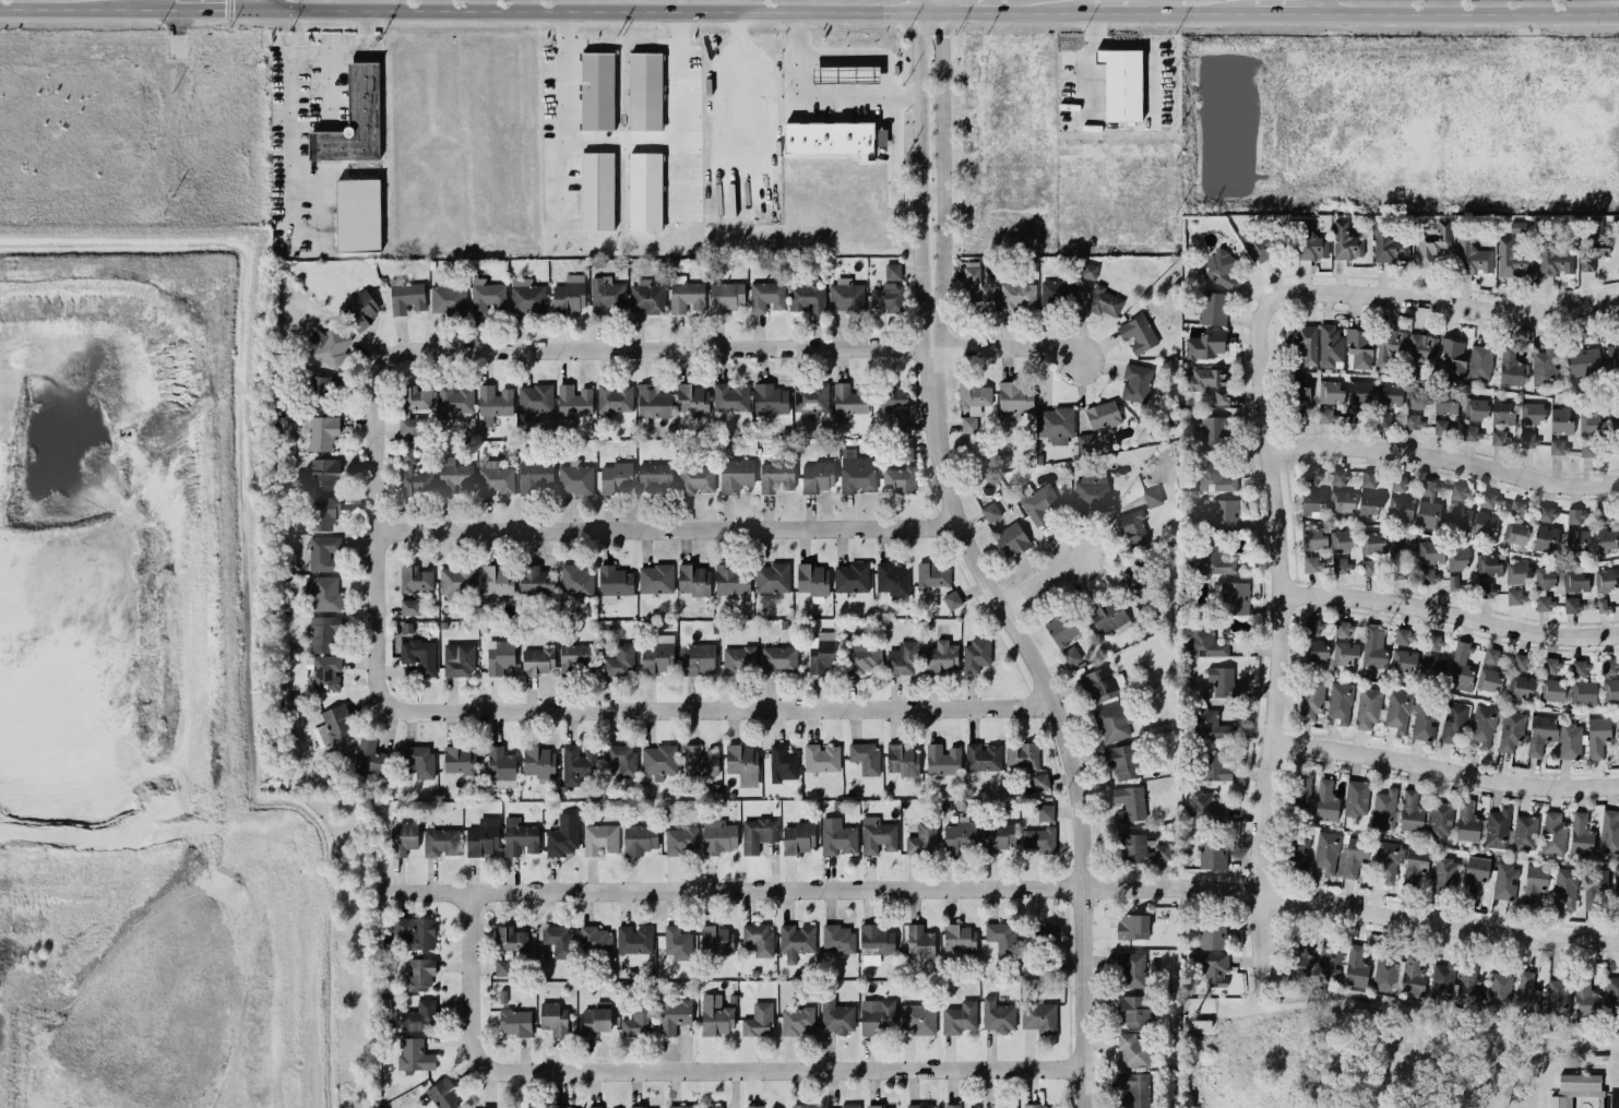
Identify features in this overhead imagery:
road: (246, 4)
road: (275, 4)
road: (1164, 7)
road: (1324, 7)
road: (78, 8)
road: (193, 9)
traffic signals: (231, 9)
road: (239, 9)
road: (261, 9)
road: (675, 11)
road: (1119, 12)
road: (1472, 12)
road: (1201, 13)
road: (1282, 13)
road: (1152, 52)
road: (1086, 64)
building: (845, 75)
building: (1121, 85)
road: (329, 87)
building: (597, 91)
building: (644, 91)
road: (287, 93)
road: (814, 99)
road: (557, 112)
building: (354, 121)
road: (675, 136)
building: (828, 136)
building: (881, 139)
road: (894, 162)
road: (920, 172)
road: (943, 172)
building: (597, 191)
building: (644, 192)
road: (323, 206)
building: (357, 216)
building: (1517, 227)
building: (1344, 241)
building: (1310, 245)
building: (1267, 246)
building: (1389, 249)
building: (1473, 258)
building: (1555, 259)
building: (1512, 260)
building: (1223, 270)
building: (893, 272)
building: (1093, 272)
building: (977, 291)
building: (1057, 291)
building: (607, 294)
building: (570, 295)
building: (527, 296)
building: (686, 296)
building: (846, 296)
building: (487, 297)
building: (647, 297)
building: (726, 297)
building: (766, 297)
building: (1017, 297)
building: (407, 298)
building: (449, 298)
building: (888, 298)
building: (806, 299)
road: (1450, 300)
building: (1106, 303)
building: (1213, 309)
building: (360, 311)
building: (1138, 333)
building: (1302, 344)
building: (330, 345)
building: (1205, 345)
road: (742, 346)
building: (1388, 346)
building: (1331, 347)
building: (1359, 348)
building: (1420, 352)
building: (1612, 354)
building: (1452, 359)
building: (1583, 361)
building: (1480, 362)
building: (1512, 367)
building: (1545, 369)
building: (1205, 379)
building: (1136, 383)
building: (1331, 392)
building: (322, 393)
building: (1389, 395)
building: (1222, 396)
building: (1418, 396)
building: (417, 397)
building: (615, 397)
building: (730, 397)
building: (974, 397)
building: (1014, 397)
building: (1358, 398)
building: (693, 400)
building: (770, 400)
building: (810, 400)
building: (454, 401)
building: (574, 401)
building: (895, 401)
building: (535, 402)
building: (848, 402)
building: (1444, 402)
building: (495, 403)
building: (654, 403)
building: (1476, 408)
building: (1502, 413)
building: (1325, 415)
building: (1413, 421)
building: (1561, 421)
building: (1616, 421)
building: (968, 425)
building: (1058, 425)
building: (1592, 425)
building: (1441, 427)
building: (1213, 431)
building: (323, 432)
building: (1472, 432)
building: (1499, 438)
building: (1528, 440)
building: (1558, 446)
building: (1592, 449)
building: (904, 450)
road: (1447, 456)
building: (412, 460)
building: (857, 473)
building: (320, 475)
building: (536, 475)
building: (655, 475)
building: (736, 475)
building: (454, 477)
building: (776, 477)
building: (818, 477)
building: (1214, 477)
building: (1310, 477)
building: (1340, 477)
building: (616, 478)
building: (575, 479)
building: (697, 479)
building: (900, 479)
building: (496, 480)
building: (1092, 493)
building: (1370, 496)
building: (1153, 498)
building: (1400, 500)
building: (1490, 501)
building: (1312, 502)
building: (1343, 502)
building: (1039, 503)
building: (1429, 508)
building: (1517, 509)
building: (991, 512)
building: (324, 513)
building: (1468, 514)
building: (1548, 514)
building: (1225, 515)
road: (381, 516)
building: (1575, 516)
road: (672, 526)
building: (1132, 527)
building: (1516, 534)
building: (1545, 538)
building: (1012, 539)
building: (1608, 539)
building: (1342, 541)
building: (1371, 543)
building: (1576, 543)
building: (1312, 547)
building: (1433, 552)
building: (323, 553)
building: (1401, 556)
building: (1459, 558)
building: (1341, 564)
building: (1369, 568)
building: (1489, 571)
building: (1517, 572)
building: (932, 575)
building: (1136, 576)
building: (1429, 576)
building: (852, 577)
building: (656, 579)
building: (893, 579)
building: (1545, 579)
building: (415, 580)
building: (456, 580)
building: (694, 580)
building: (772, 580)
building: (812, 580)
road: (1043, 580)
building: (1575, 580)
building: (1607, 580)
building: (498, 581)
building: (536, 581)
building: (576, 581)
building: (733, 581)
building: (615, 583)
building: (1454, 583)
building: (325, 594)
building: (1515, 596)
building: (1236, 598)
building: (1544, 604)
building: (1572, 605)
building: (1603, 605)
building: (409, 607)
road: (1453, 610)
building: (1109, 616)
building: (1314, 628)
building: (1061, 629)
building: (1344, 630)
building: (323, 632)
road: (1285, 636)
building: (1403, 636)
building: (1436, 643)
building: (1206, 644)
building: (1373, 647)
building: (1318, 652)
building: (823, 653)
building: (1345, 653)
building: (658, 655)
building: (976, 655)
building: (419, 656)
building: (1071, 656)
building: (1493, 656)
building: (500, 657)
building: (576, 657)
building: (862, 657)
building: (942, 657)
building: (620, 659)
building: (699, 659)
building: (737, 659)
building: (778, 659)
building: (903, 659)
building: (459, 660)
building: (1403, 660)
building: (538, 662)
building: (1521, 663)
building: (1432, 666)
building: (1551, 666)
building: (1610, 666)
building: (1461, 668)
building: (1580, 668)
building: (326, 674)
building: (1489, 681)
building: (1224, 682)
building: (1103, 684)
building: (1521, 686)
building: (1552, 690)
building: (1610, 690)
building: (1584, 692)
landfill: (157, 698)
building: (1311, 700)
building: (1341, 702)
road: (722, 706)
building: (1368, 707)
road: (1063, 713)
building: (1425, 719)
building: (1454, 722)
building: (1111, 723)
building: (333, 726)
building: (1618, 727)
building: (1213, 728)
building: (1481, 732)
building: (1541, 734)
building: (1598, 736)
building: (1570, 741)
building: (983, 756)
building: (371, 758)
building: (822, 758)
building: (865, 758)
building: (903, 760)
building: (943, 760)
building: (419, 761)
building: (460, 761)
building: (620, 761)
building: (659, 761)
building: (701, 761)
building: (1123, 761)
building: (539, 762)
building: (784, 762)
building: (1028, 763)
building: (501, 764)
building: (578, 764)
building: (742, 764)
building: (1216, 765)
road: (1448, 767)
building: (1357, 798)
building: (1317, 800)
building: (1128, 802)
building: (1205, 808)
building: (1384, 809)
building: (1046, 812)
building: (1410, 812)
building: (1440, 820)
building: (1468, 822)
building: (1499, 829)
building: (1609, 832)
building: (1525, 833)
building: (758, 834)
building: (1553, 834)
building: (1581, 834)
building: (563, 835)
building: (718, 836)
building: (878, 836)
building: (960, 836)
building: (998, 836)
building: (484, 837)
building: (520, 837)
building: (799, 837)
building: (404, 838)
building: (600, 839)
building: (640, 839)
building: (681, 841)
building: (838, 841)
building: (922, 841)
building: (1038, 841)
building: (441, 842)
building: (1136, 847)
building: (1213, 851)
building: (1301, 851)
building: (1326, 851)
building: (1163, 853)
building: (1355, 856)
building: (1389, 859)
building: (1415, 866)
building: (1445, 873)
building: (1475, 874)
building: (1505, 881)
building: (1536, 883)
road: (1004, 885)
building: (1617, 886)
building: (1566, 887)
building: (1595, 887)
building: (1132, 927)
building: (416, 931)
building: (1048, 936)
building: (1212, 937)
building: (510, 938)
building: (1002, 938)
building: (758, 939)
building: (838, 939)
building: (960, 939)
building: (634, 940)
building: (717, 940)
building: (796, 940)
building: (595, 941)
building: (919, 942)
building: (677, 943)
building: (876, 943)
building: (1300, 956)
building: (1330, 962)
building: (1212, 967)
building: (1356, 967)
building: (1132, 969)
building: (1385, 974)
building: (420, 975)
building: (1413, 977)
building: (1442, 980)
road: (478, 981)
building: (1469, 986)
building: (1499, 990)
building: (1612, 992)
building: (1527, 993)
building: (1558, 998)
building: (1585, 999)
road: (1420, 1006)
building: (1134, 1011)
building: (419, 1015)
building: (674, 1015)
building: (716, 1015)
building: (998, 1015)
building: (877, 1016)
building: (836, 1017)
building: (960, 1017)
building: (1039, 1017)
building: (553, 1018)
building: (919, 1018)
building: (596, 1020)
building: (759, 1020)
building: (636, 1021)
building: (798, 1021)
building: (515, 1022)
building: (1133, 1051)
building: (414, 1056)
road: (790, 1068)
building: (1578, 1081)
road: (1464, 1087)
building: (1134, 1089)
road: (1549, 1093)
road: (1585, 1093)
road: (1605, 1093)
building: (443, 1095)
road: (1567, 1100)
building: (1556, 1101)
building: (564, 1106)
building: (800, 1106)
building: (850, 1106)
building: (919, 1106)
building: (953, 1106)
building: (1009, 1106)
building: (533, 1107)
building: (596, 1107)
building: (714, 1107)
building: (754, 1107)
building: (886, 1107)
building: (1040, 1107)

